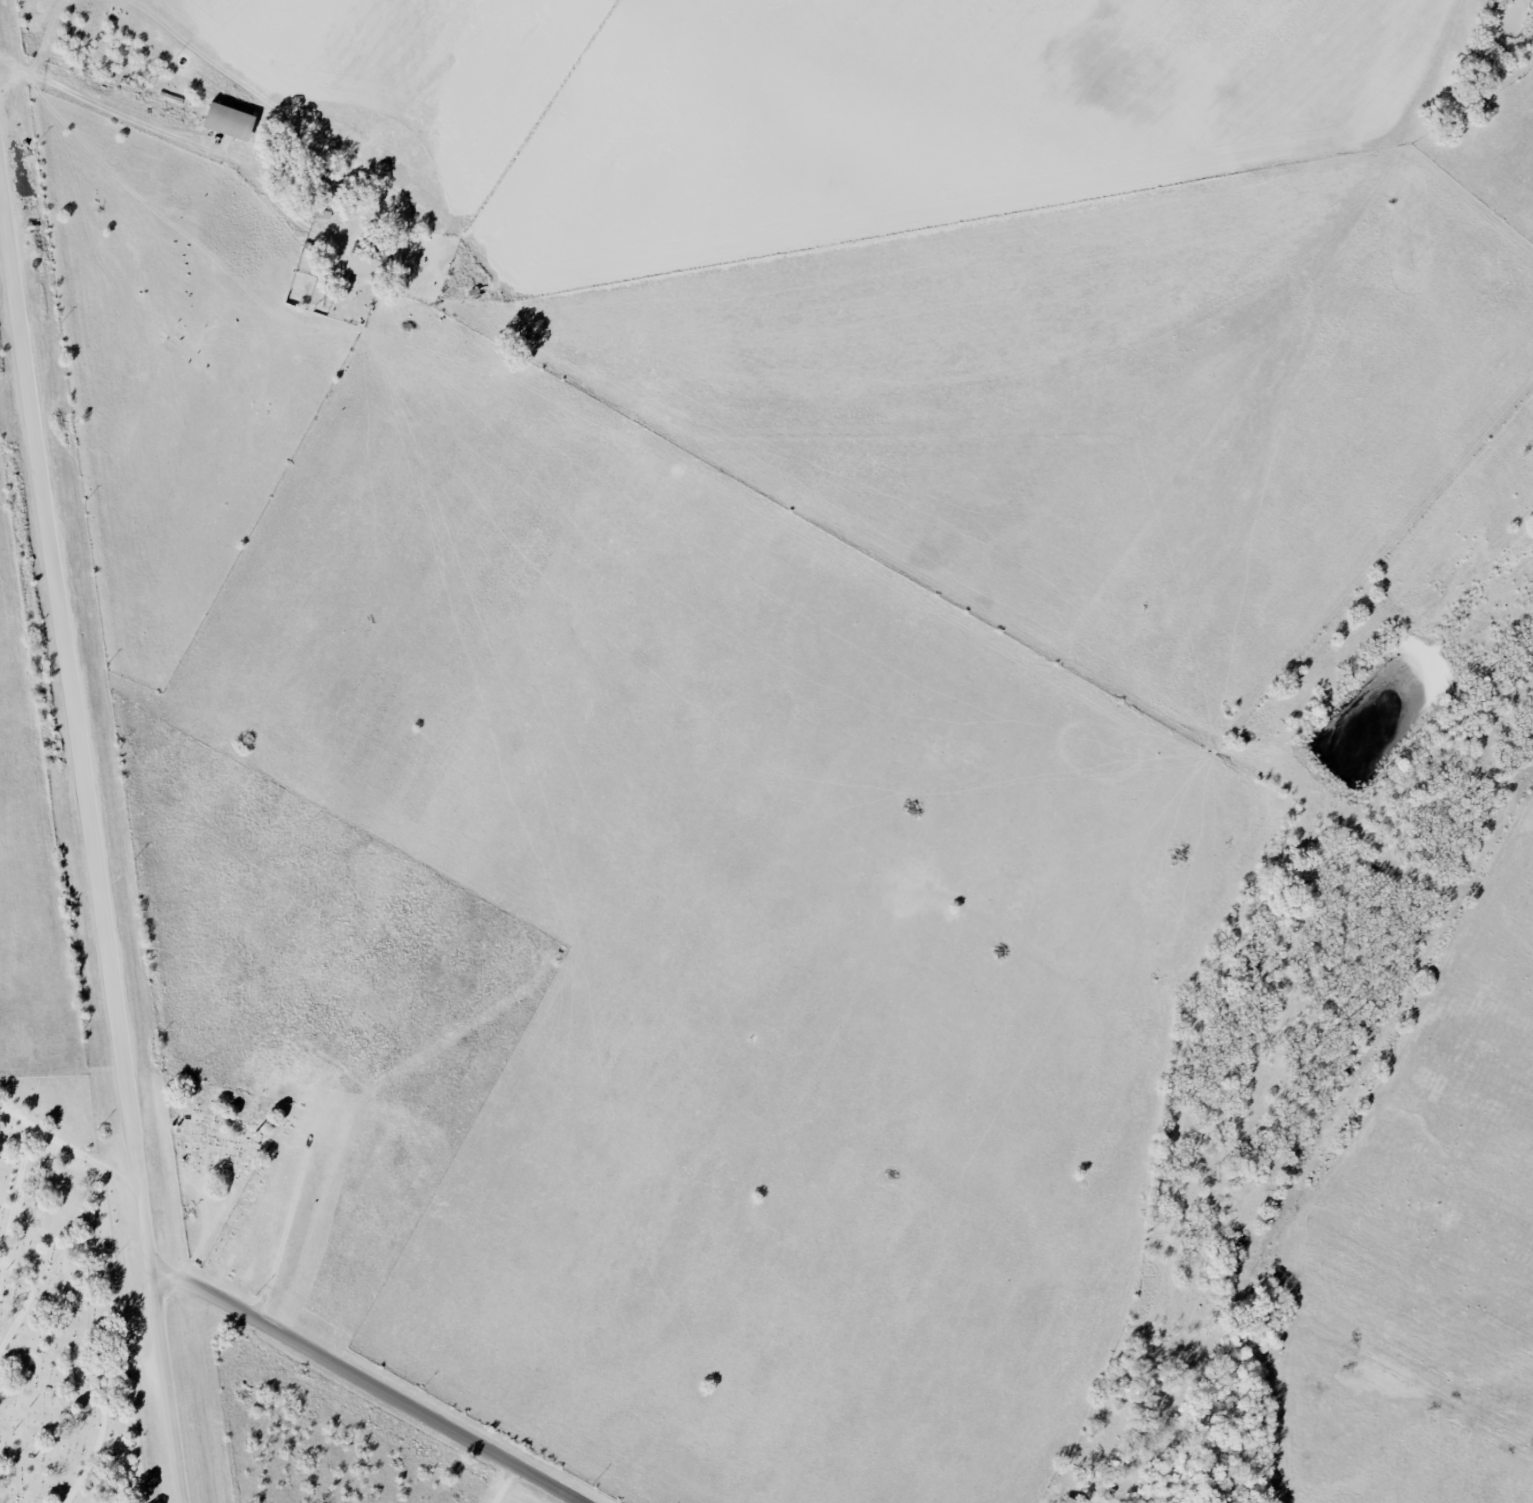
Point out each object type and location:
road: (132, 111)
building: (229, 122)
road: (92, 796)
road: (71, 1142)
park: (219, 1153)
road: (18, 1189)
road: (207, 1288)
road: (29, 1297)
park: (62, 1325)
road: (105, 1408)
road: (422, 1408)
building: (114, 1411)
road: (135, 1433)
road: (507, 1482)
building: (1071, 1500)

